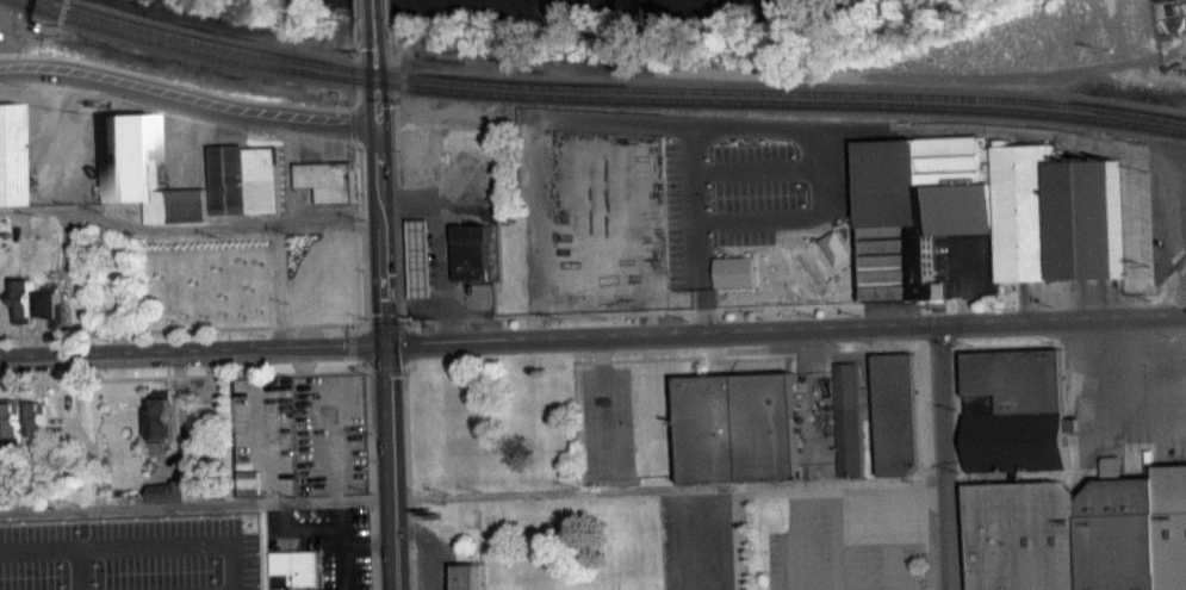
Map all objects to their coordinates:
road: (386, 19)
road: (355, 20)
road: (373, 20)
wastewater plant: (1114, 46)
road: (377, 83)
road: (209, 88)
railway: (597, 97)
road: (188, 98)
railway: (588, 106)
road: (350, 111)
road: (352, 126)
building: (10, 154)
building: (144, 172)
building: (246, 179)
road: (395, 179)
building: (327, 180)
building: (985, 222)
road: (187, 228)
road: (361, 228)
building: (253, 249)
building: (472, 253)
gas station: (423, 257)
building: (253, 259)
building: (422, 267)
building: (737, 292)
building: (24, 300)
building: (51, 303)
building: (230, 304)
road: (632, 310)
road: (383, 321)
road: (408, 324)
road: (361, 327)
road: (184, 328)
road: (783, 328)
traffic signals: (383, 343)
road: (409, 343)
road: (362, 344)
road: (191, 349)
road: (383, 359)
road: (362, 365)
road: (384, 369)
road: (400, 369)
road: (184, 375)
building: (160, 415)
building: (11, 420)
building: (36, 420)
building: (1016, 420)
building: (896, 422)
building: (847, 428)
building: (738, 436)
building: (1185, 445)
road: (942, 455)
road: (406, 473)
road: (371, 479)
building: (247, 491)
building: (170, 493)
road: (546, 493)
building: (137, 527)
building: (1080, 534)
building: (137, 536)
building: (297, 567)
road: (925, 573)
building: (467, 578)
building: (147, 589)

